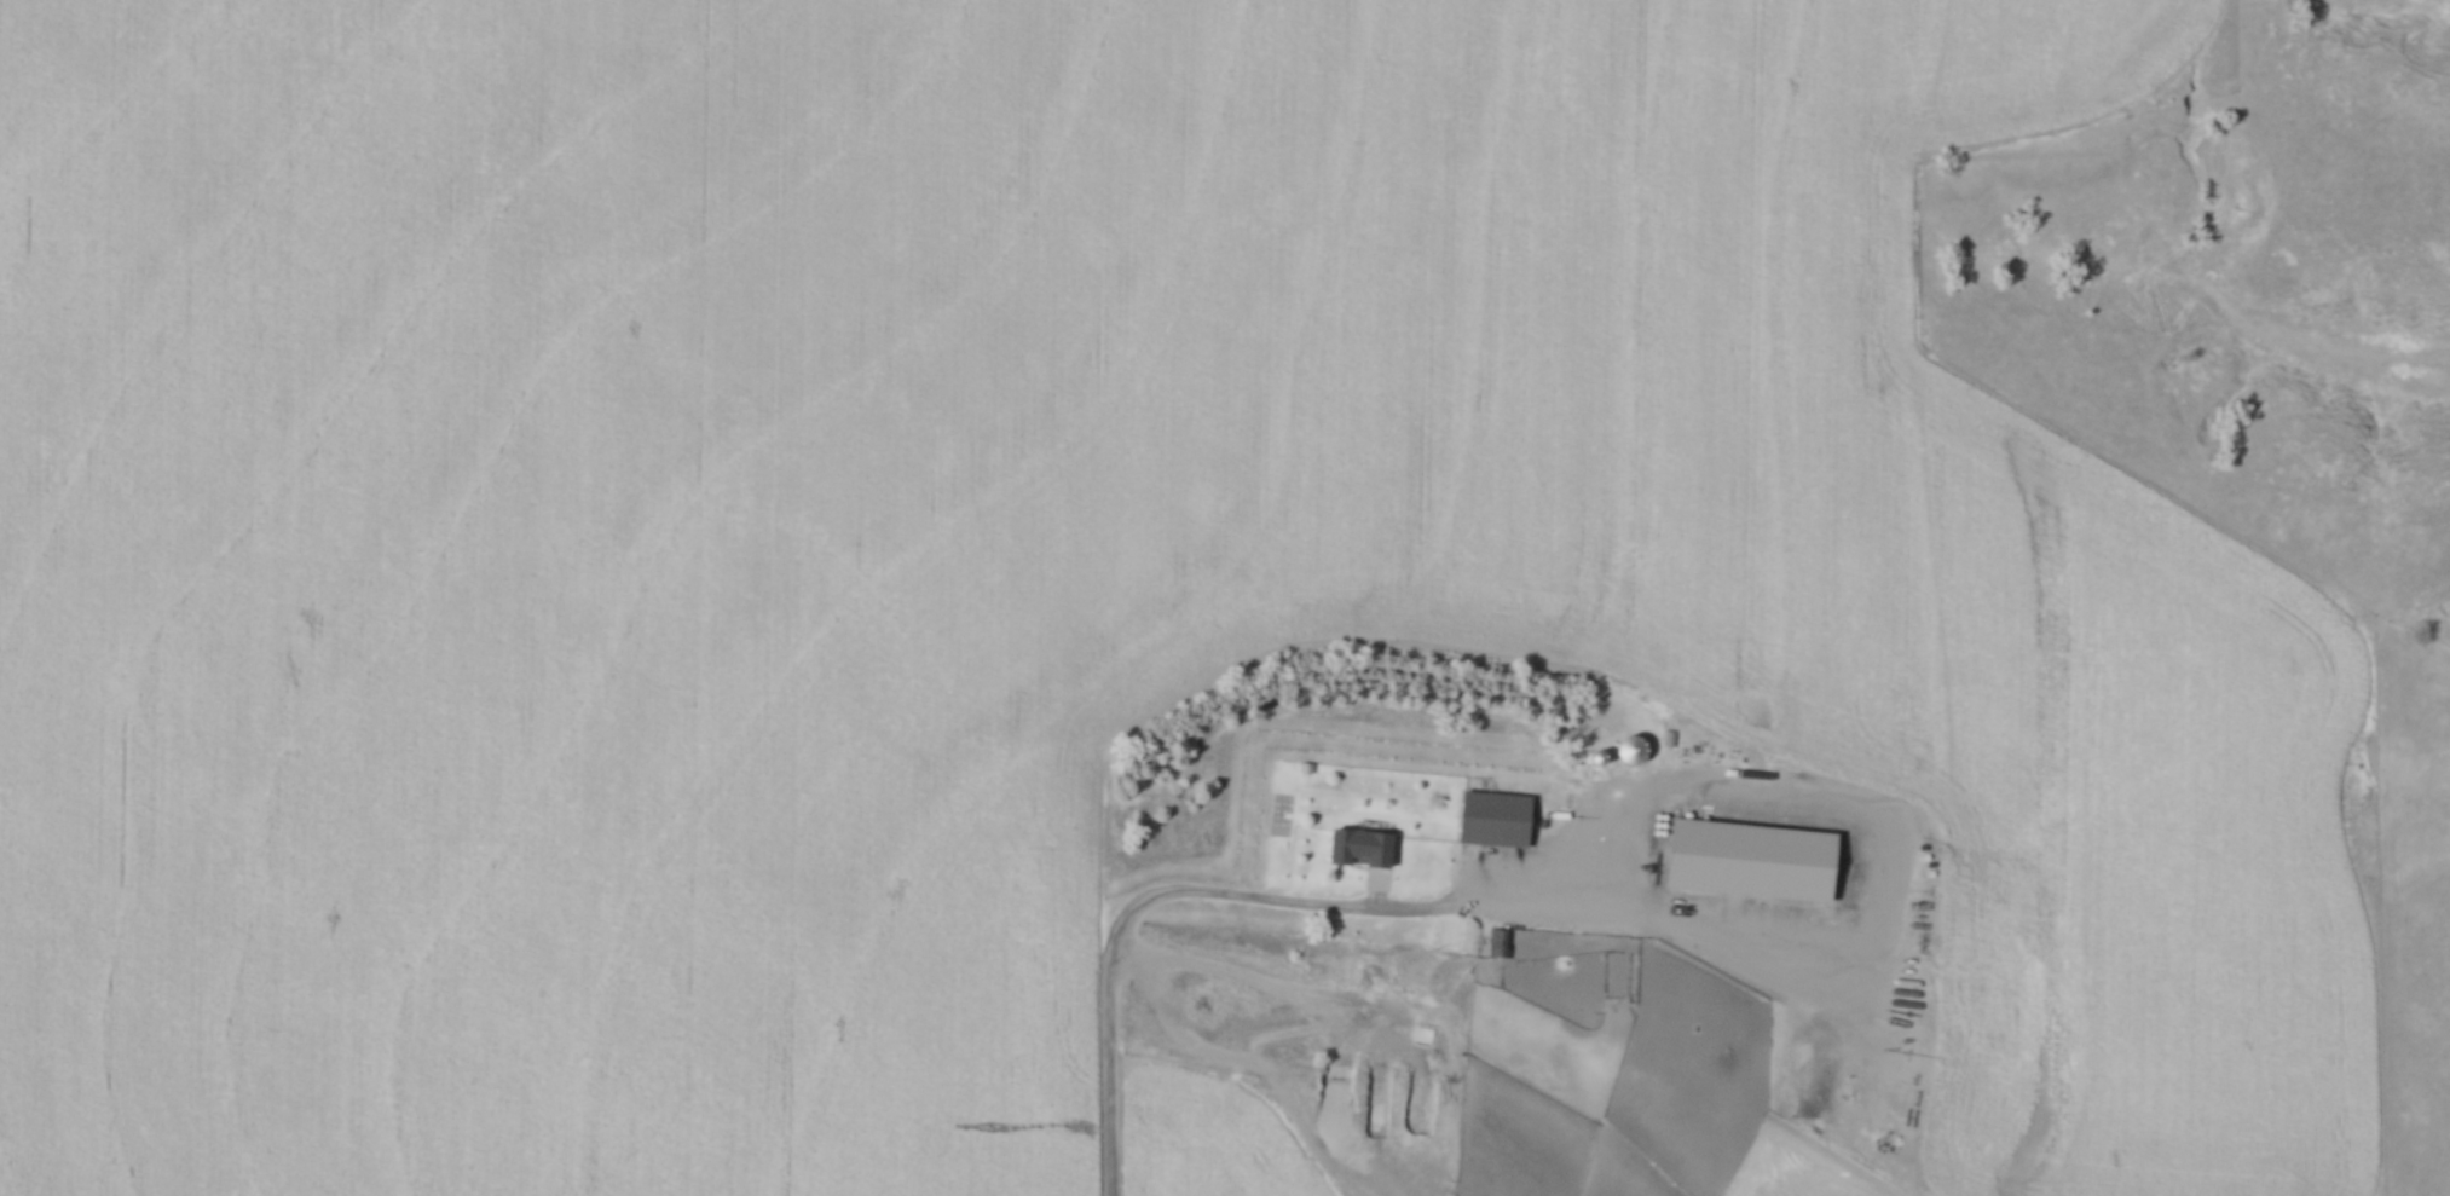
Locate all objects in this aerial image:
crop: (1041, 559)
building: (1495, 820)
building: (1357, 844)
road: (1119, 930)
building: (1497, 943)
building: (1618, 1016)

